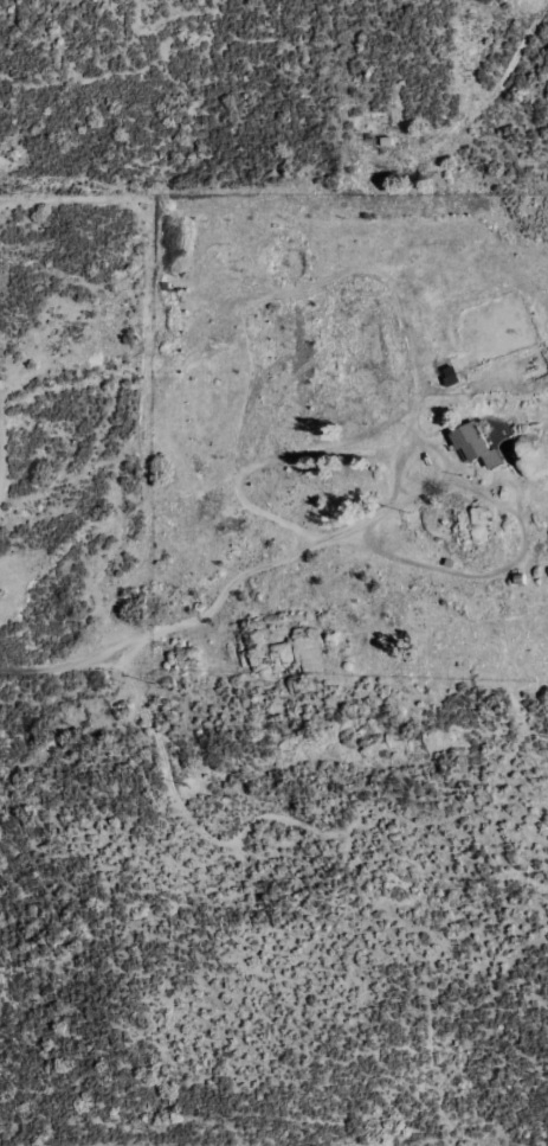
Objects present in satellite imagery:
building: (476, 444)

